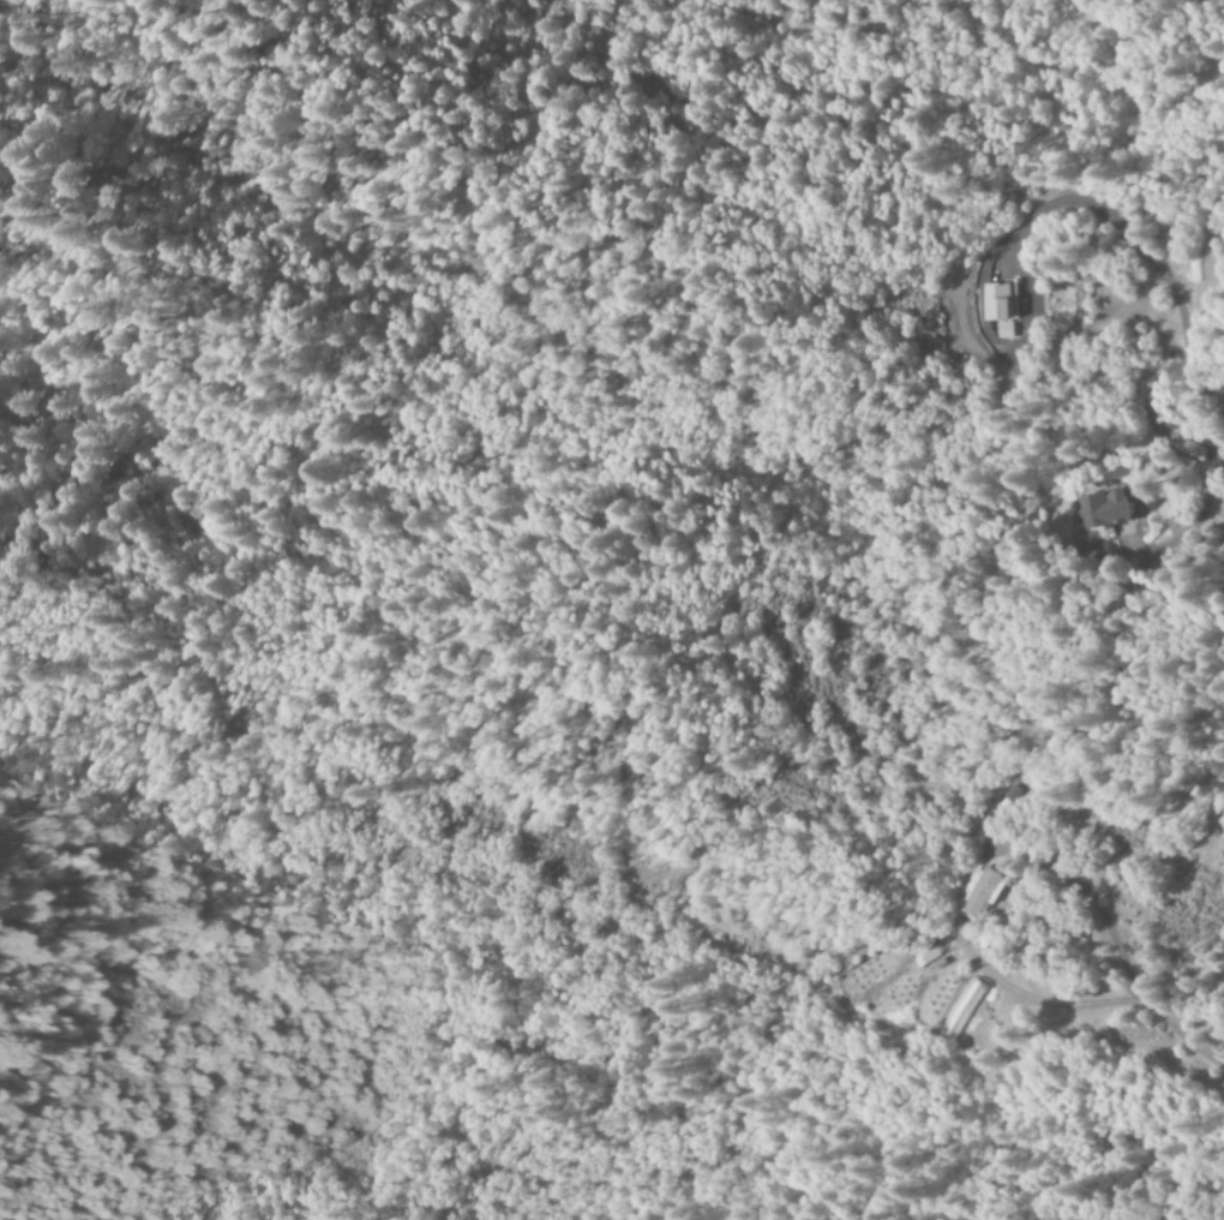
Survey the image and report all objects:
building: (1000, 303)
building: (1003, 331)
building: (1108, 510)
building: (974, 893)
building: (924, 956)

